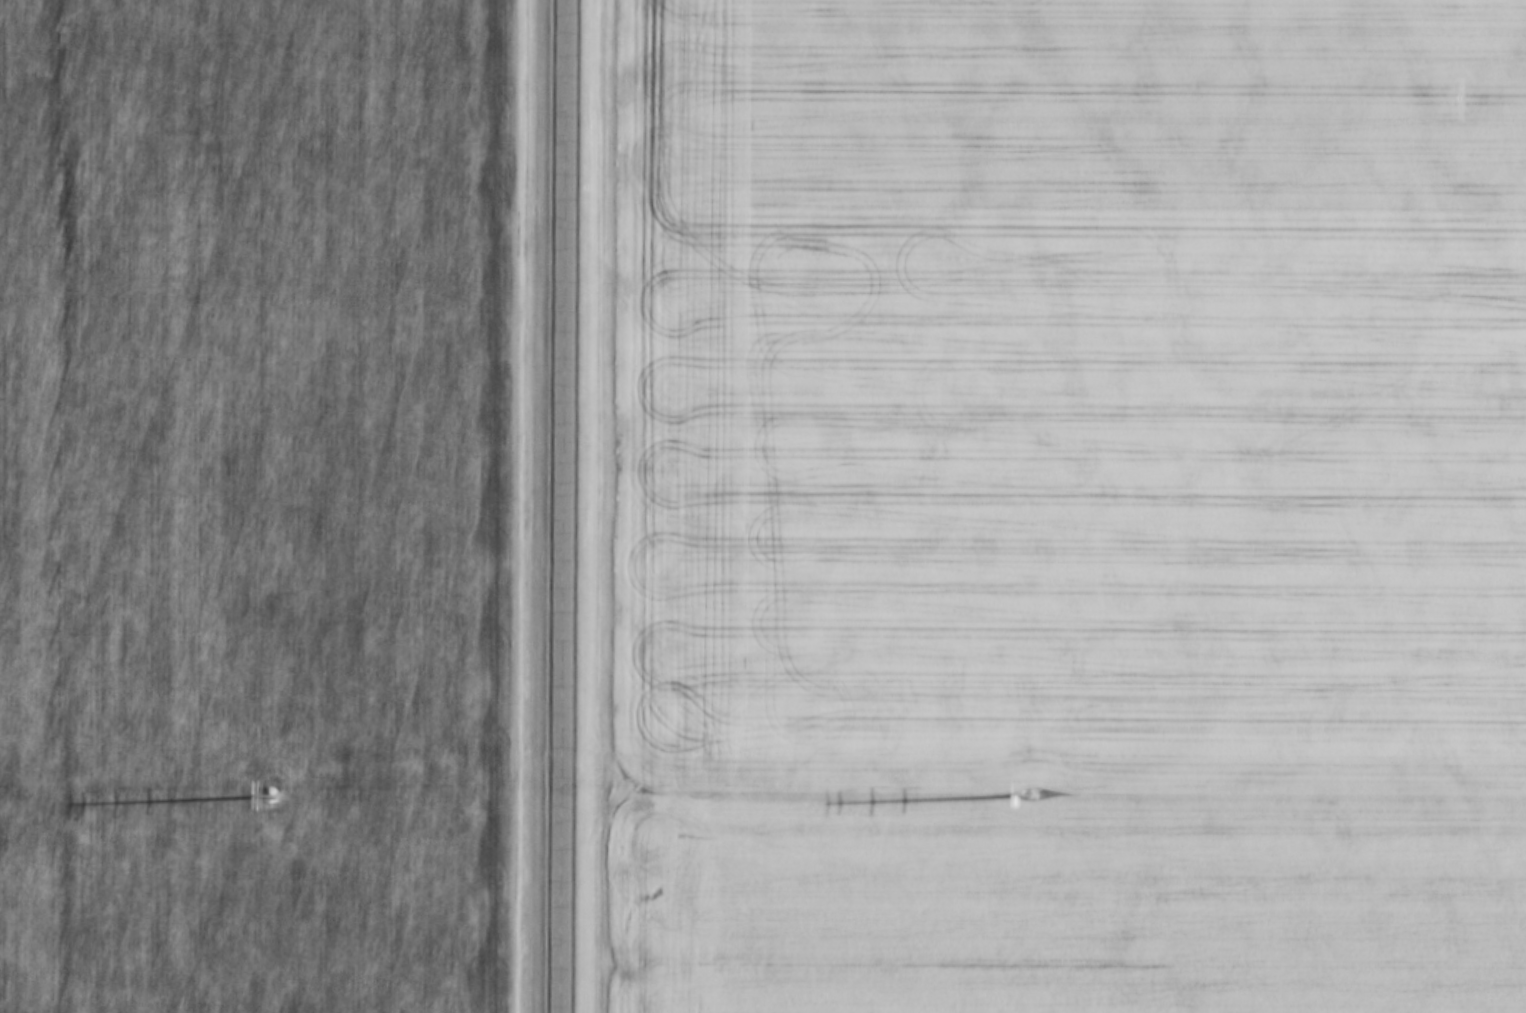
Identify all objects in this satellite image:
road: (566, 506)
power tower: (274, 796)
power tower: (1029, 797)

